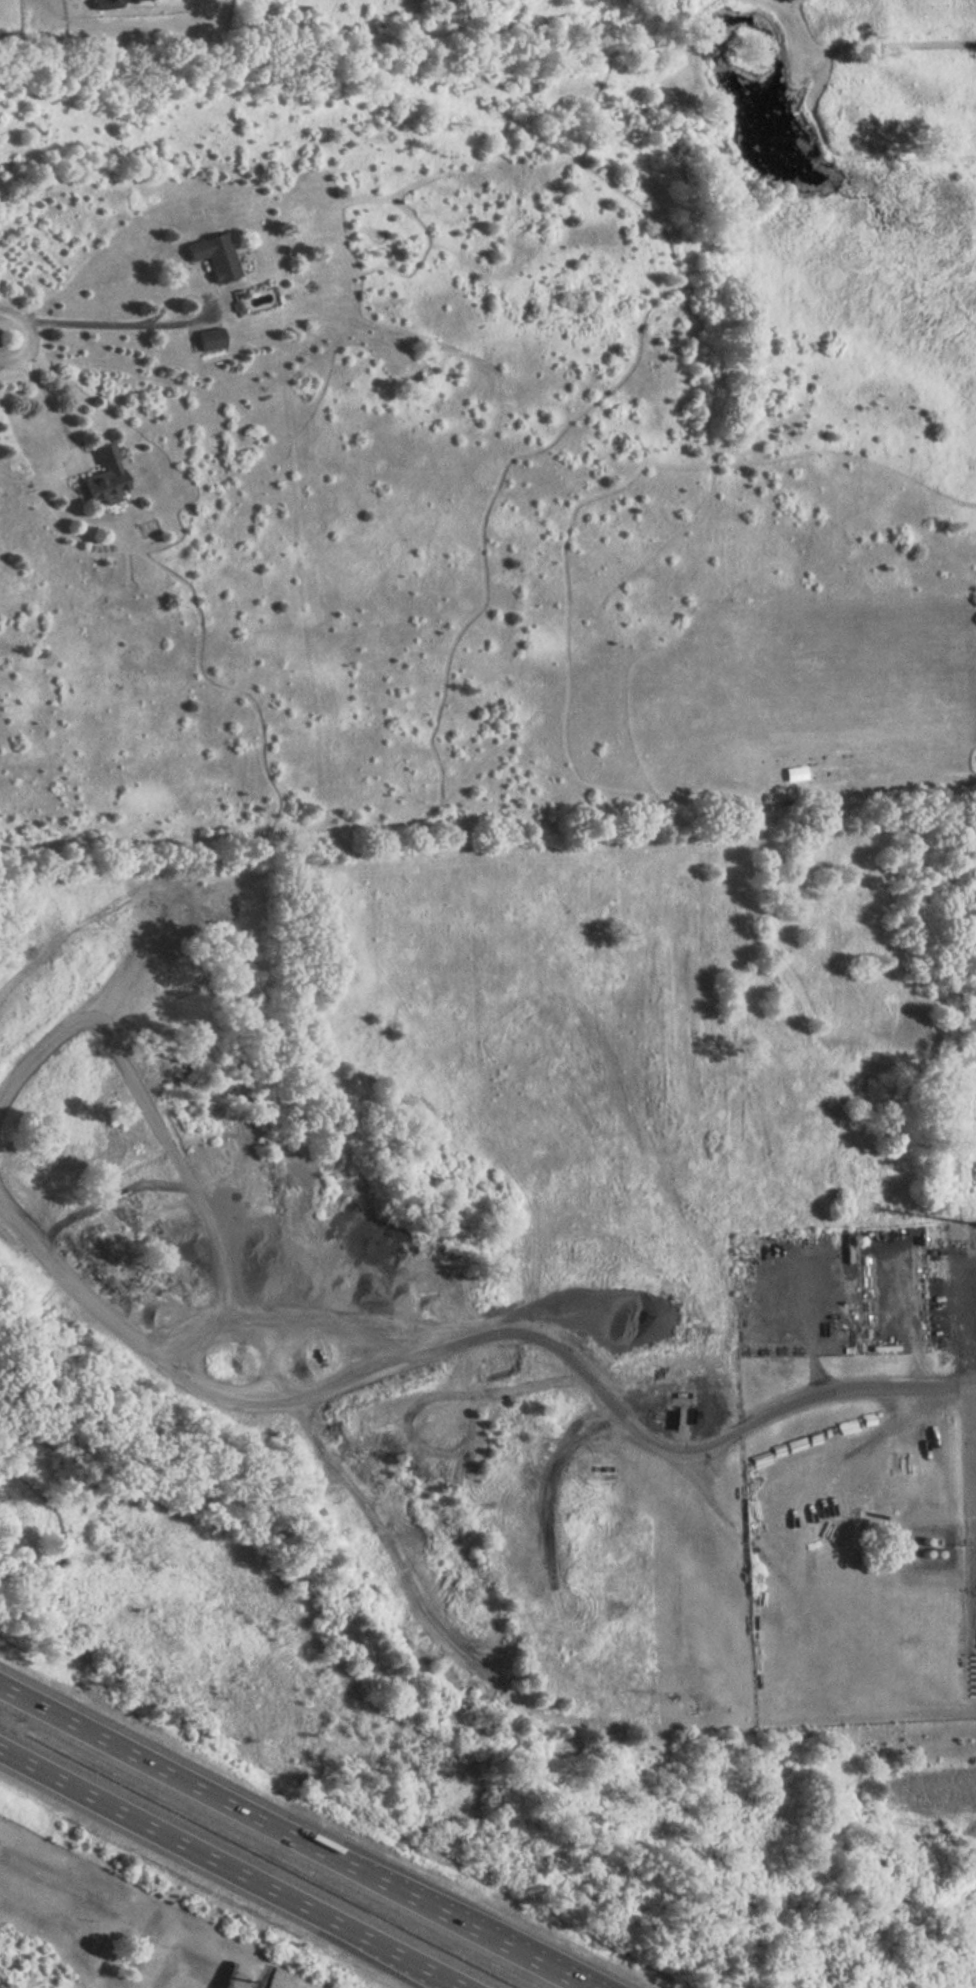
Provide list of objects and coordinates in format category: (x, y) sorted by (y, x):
building: (116, 2)
building: (216, 252)
road: (96, 325)
building: (212, 333)
road: (5, 334)
road: (5, 344)
road: (48, 400)
building: (106, 476)
road: (859, 1387)
road: (8, 1707)
road: (294, 1836)
road: (220, 1866)
road: (449, 1984)

